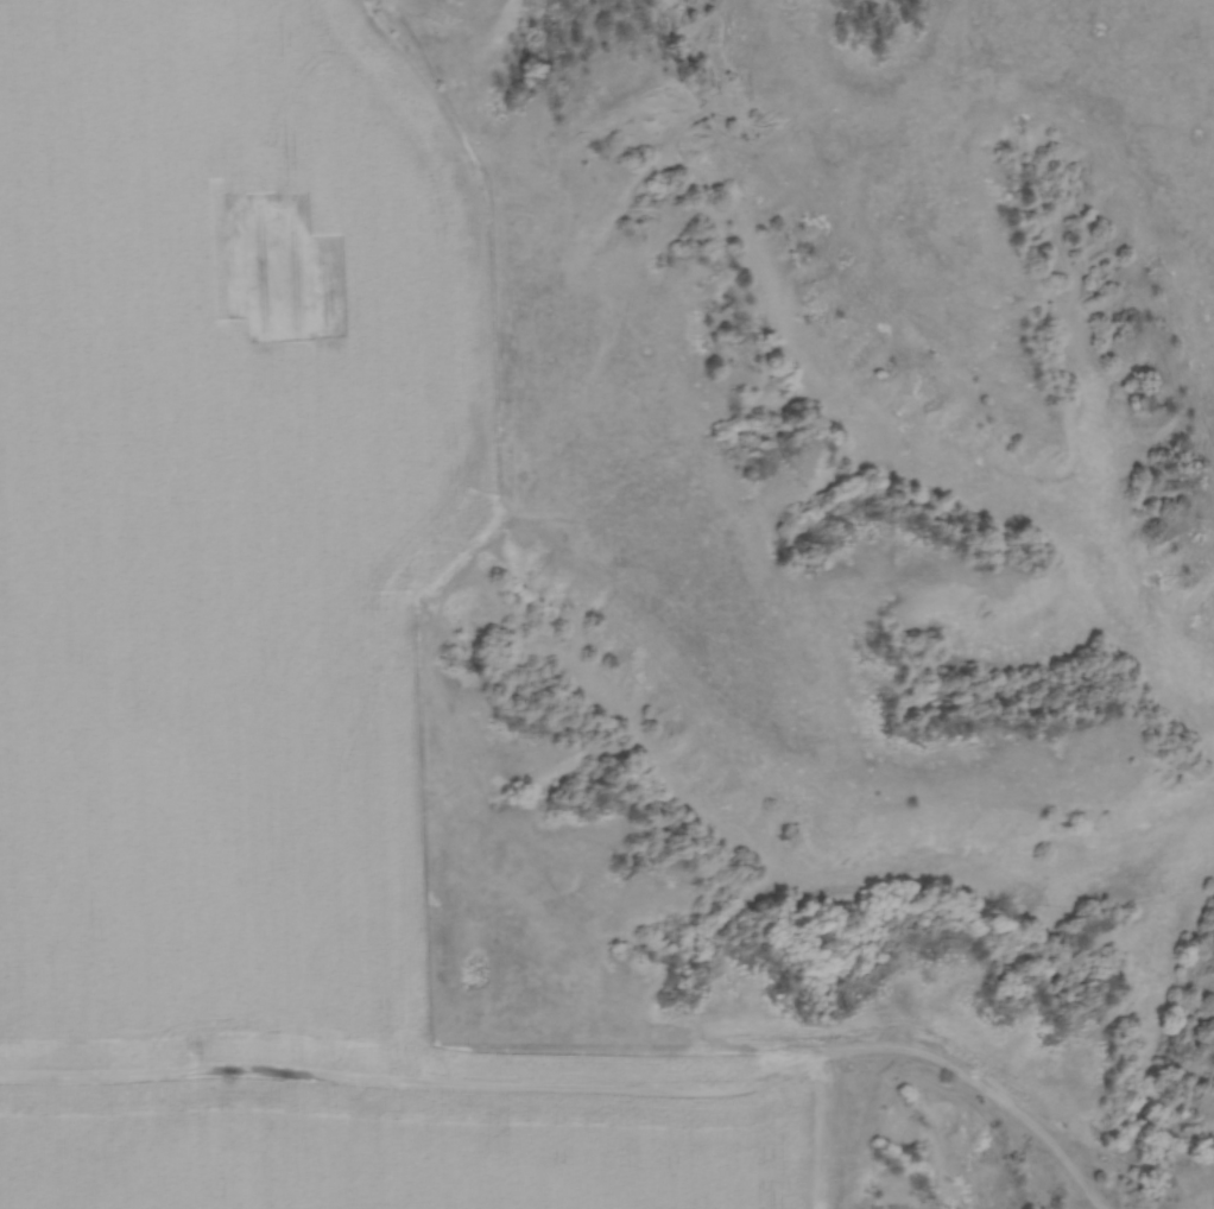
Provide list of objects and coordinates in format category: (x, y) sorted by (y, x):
building: (1124, 1199)

